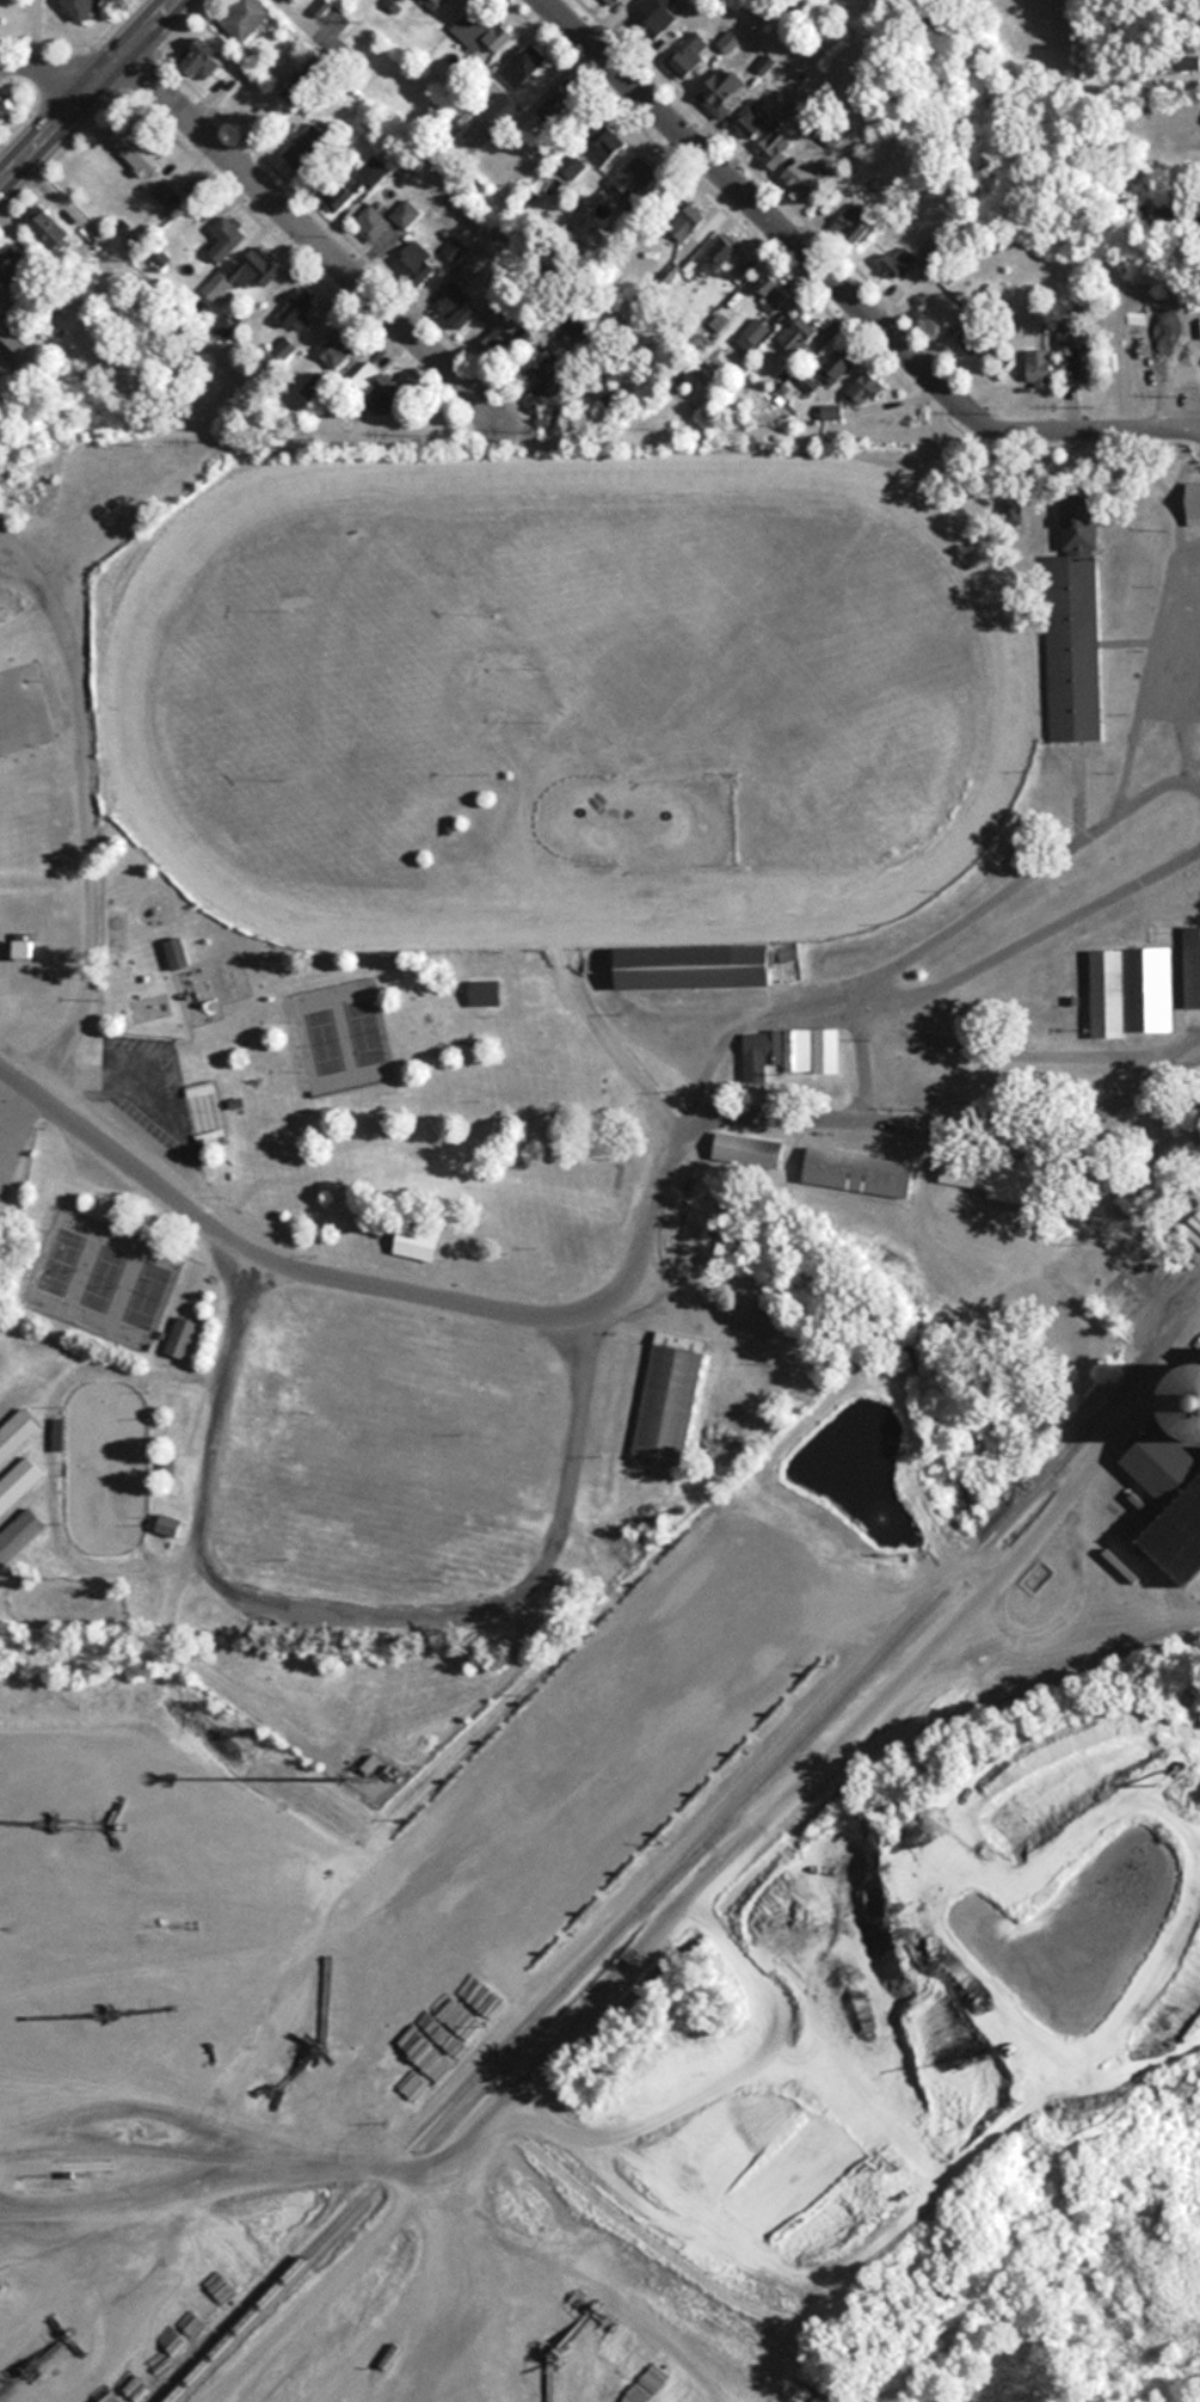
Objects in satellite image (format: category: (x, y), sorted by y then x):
building: (290, 0)
building: (614, 2)
building: (433, 4)
building: (81, 7)
building: (245, 18)
building: (658, 18)
building: (481, 33)
road: (146, 36)
building: (728, 42)
building: (687, 57)
building: (202, 60)
building: (522, 66)
road: (55, 69)
building: (304, 81)
building: (721, 91)
building: (558, 104)
building: (2, 106)
building: (499, 115)
building: (749, 122)
road: (55, 130)
building: (307, 147)
building: (608, 148)
building: (774, 148)
building: (136, 150)
building: (571, 165)
building: (634, 178)
building: (802, 179)
building: (164, 191)
building: (343, 192)
building: (405, 214)
building: (694, 216)
building: (855, 221)
building: (371, 223)
building: (49, 231)
building: (226, 238)
road: (316, 246)
building: (455, 248)
building: (716, 256)
building: (899, 260)
building: (475, 262)
building: (416, 263)
building: (8, 264)
building: (241, 272)
road: (837, 287)
building: (773, 291)
building: (299, 308)
building: (460, 308)
building: (756, 330)
building: (17, 333)
building: (798, 334)
building: (973, 338)
building: (494, 345)
building: (336, 348)
building: (1075, 350)
building: (836, 365)
building: (1040, 368)
building: (547, 382)
building: (374, 387)
building: (862, 389)
building: (314, 392)
building: (832, 412)
raceway: (320, 475)
park: (626, 592)
building: (1073, 629)
park: (405, 692)
park: (23, 695)
building: (1192, 817)
building: (25, 947)
building: (178, 953)
building: (696, 965)
building: (1190, 965)
building: (597, 981)
building: (1130, 990)
building: (485, 991)
park: (344, 1020)
road: (604, 1038)
building: (826, 1039)
building: (798, 1051)
building: (759, 1056)
building: (199, 1088)
park: (207, 1100)
building: (1182, 1148)
building: (747, 1149)
building: (860, 1172)
building: (998, 1174)
building: (1140, 1196)
park: (461, 1205)
building: (418, 1243)
park: (106, 1263)
road: (622, 1282)
road: (239, 1311)
building: (1065, 1322)
building: (181, 1338)
road: (99, 1364)
building: (1188, 1396)
building: (669, 1399)
building: (16, 1432)
park: (105, 1466)
building: (18, 1482)
building: (1171, 1503)
building: (19, 1536)
railway: (922, 1736)
railway: (683, 1860)
road: (718, 1870)
building: (586, 2364)
building: (608, 2376)
building: (633, 2383)

